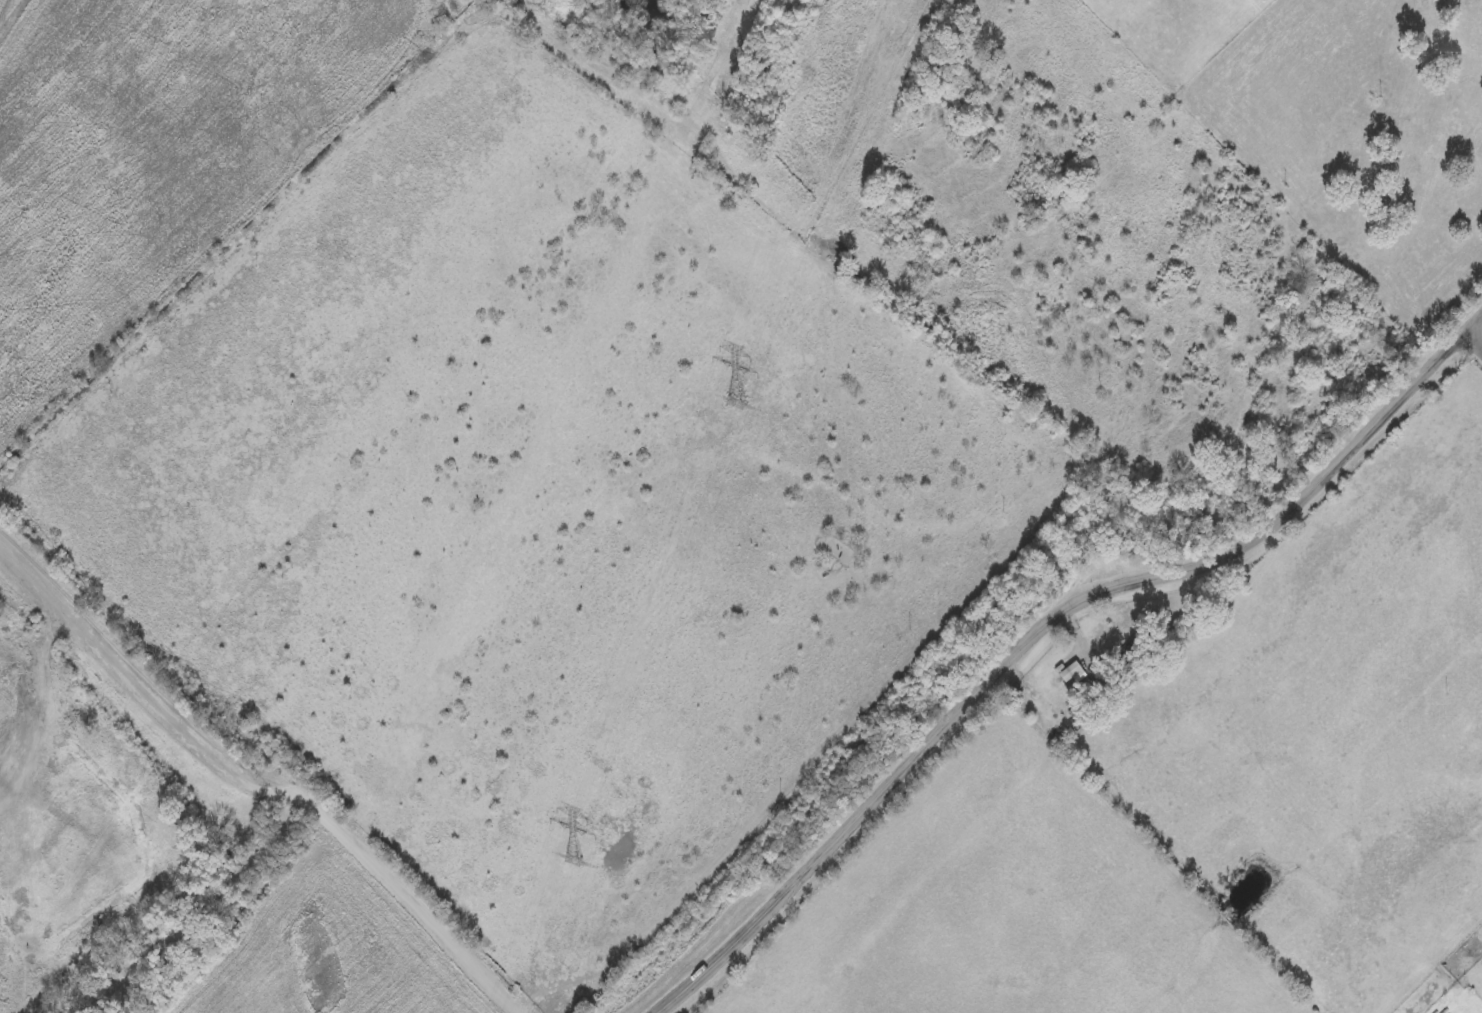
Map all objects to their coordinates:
road: (1473, 342)
power tower: (731, 402)
road: (1049, 623)
road: (266, 782)
power tower: (571, 860)
building: (1456, 926)

